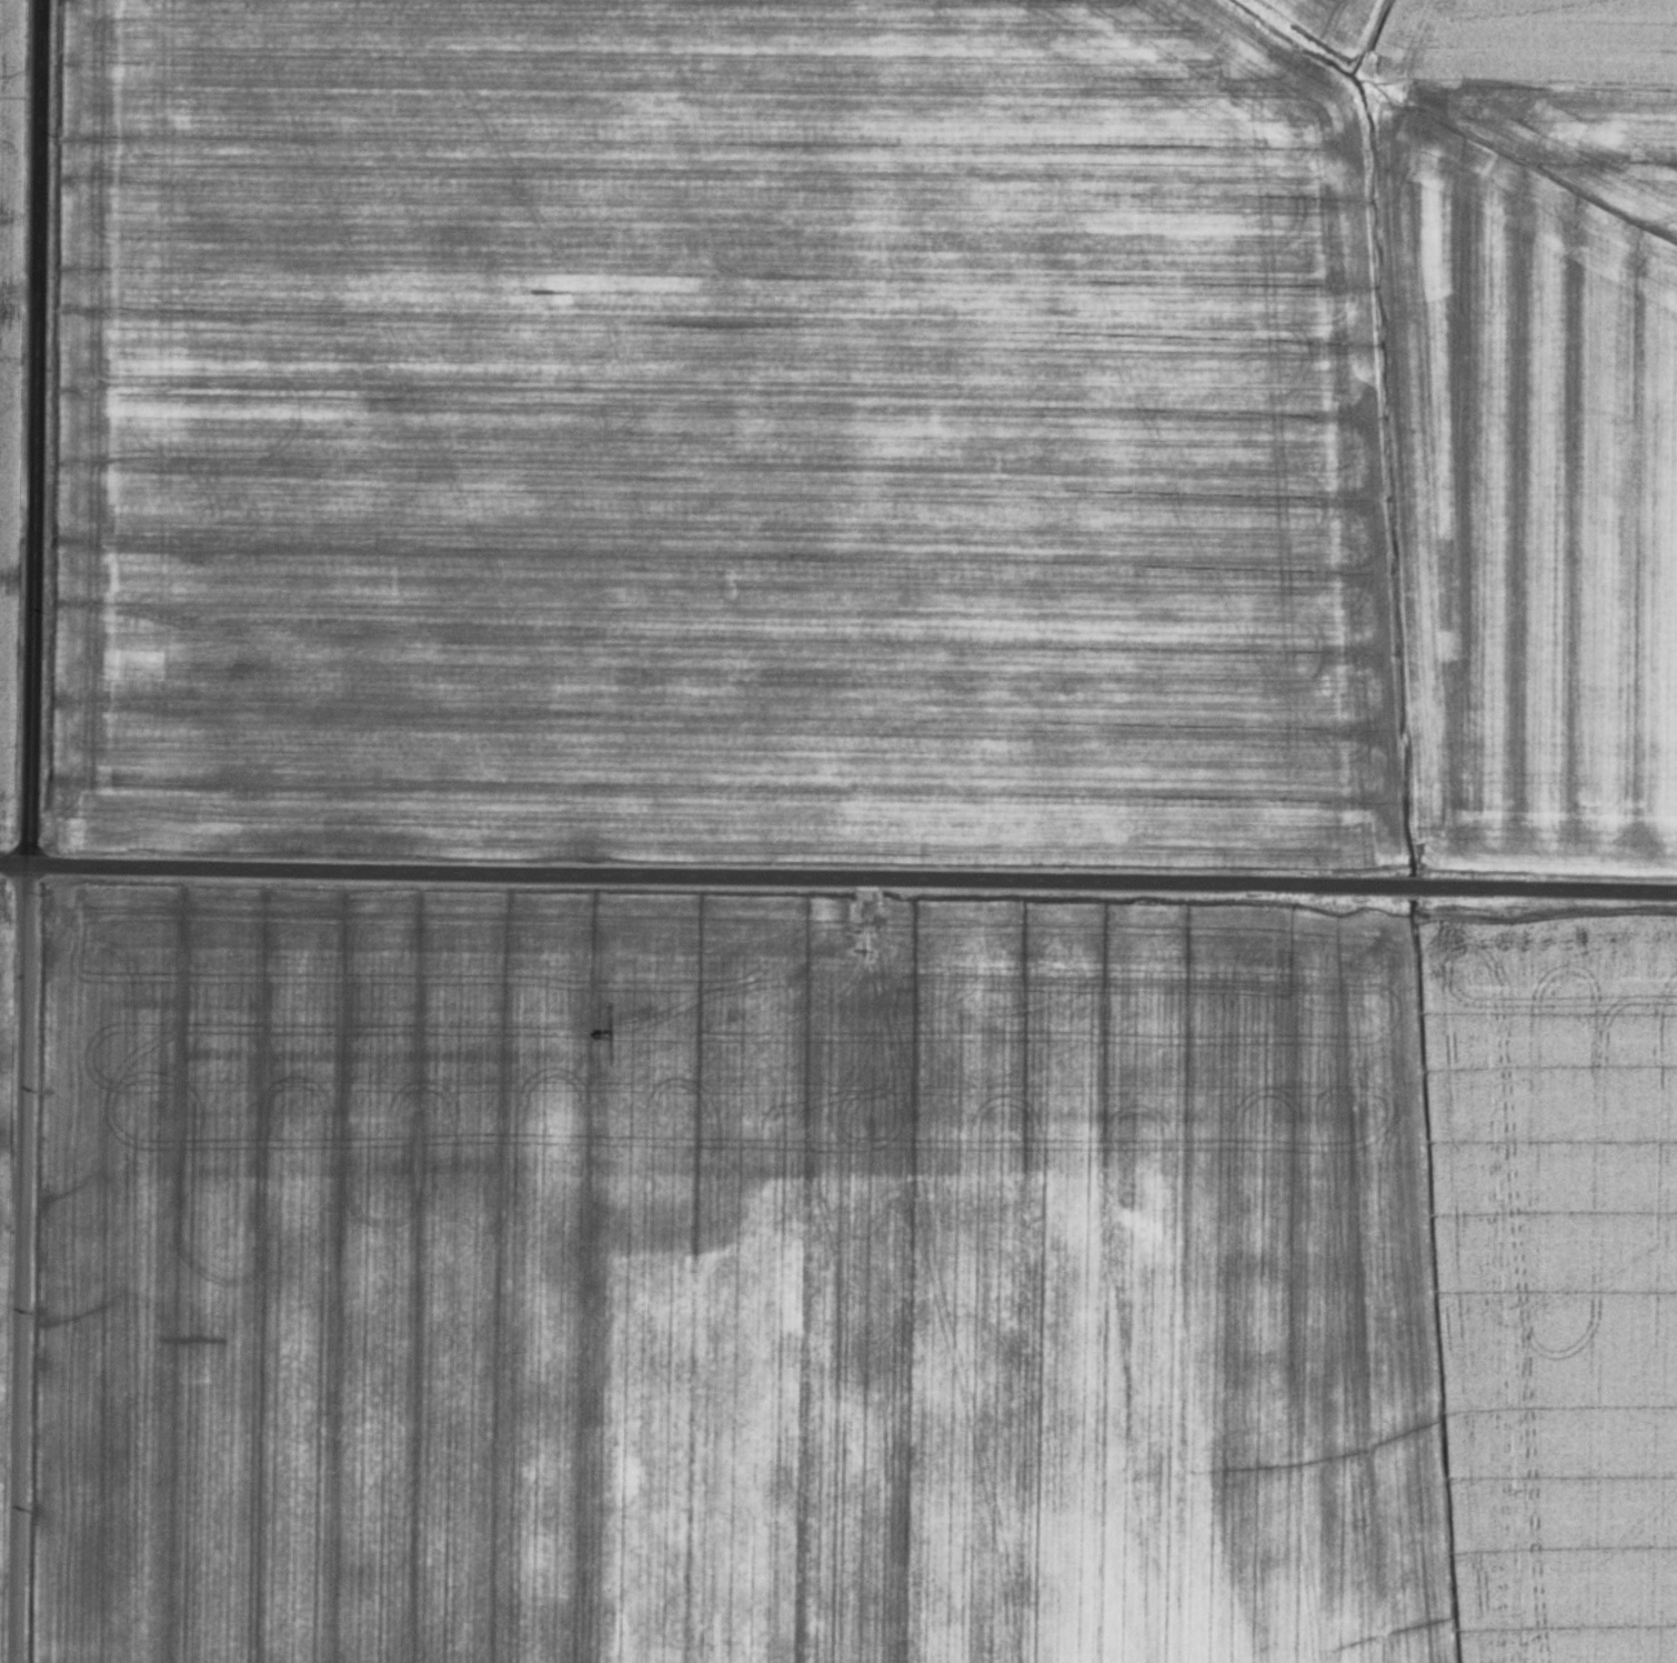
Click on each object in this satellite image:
road: (31, 431)
road: (13, 862)
road: (851, 876)
road: (20, 1262)

